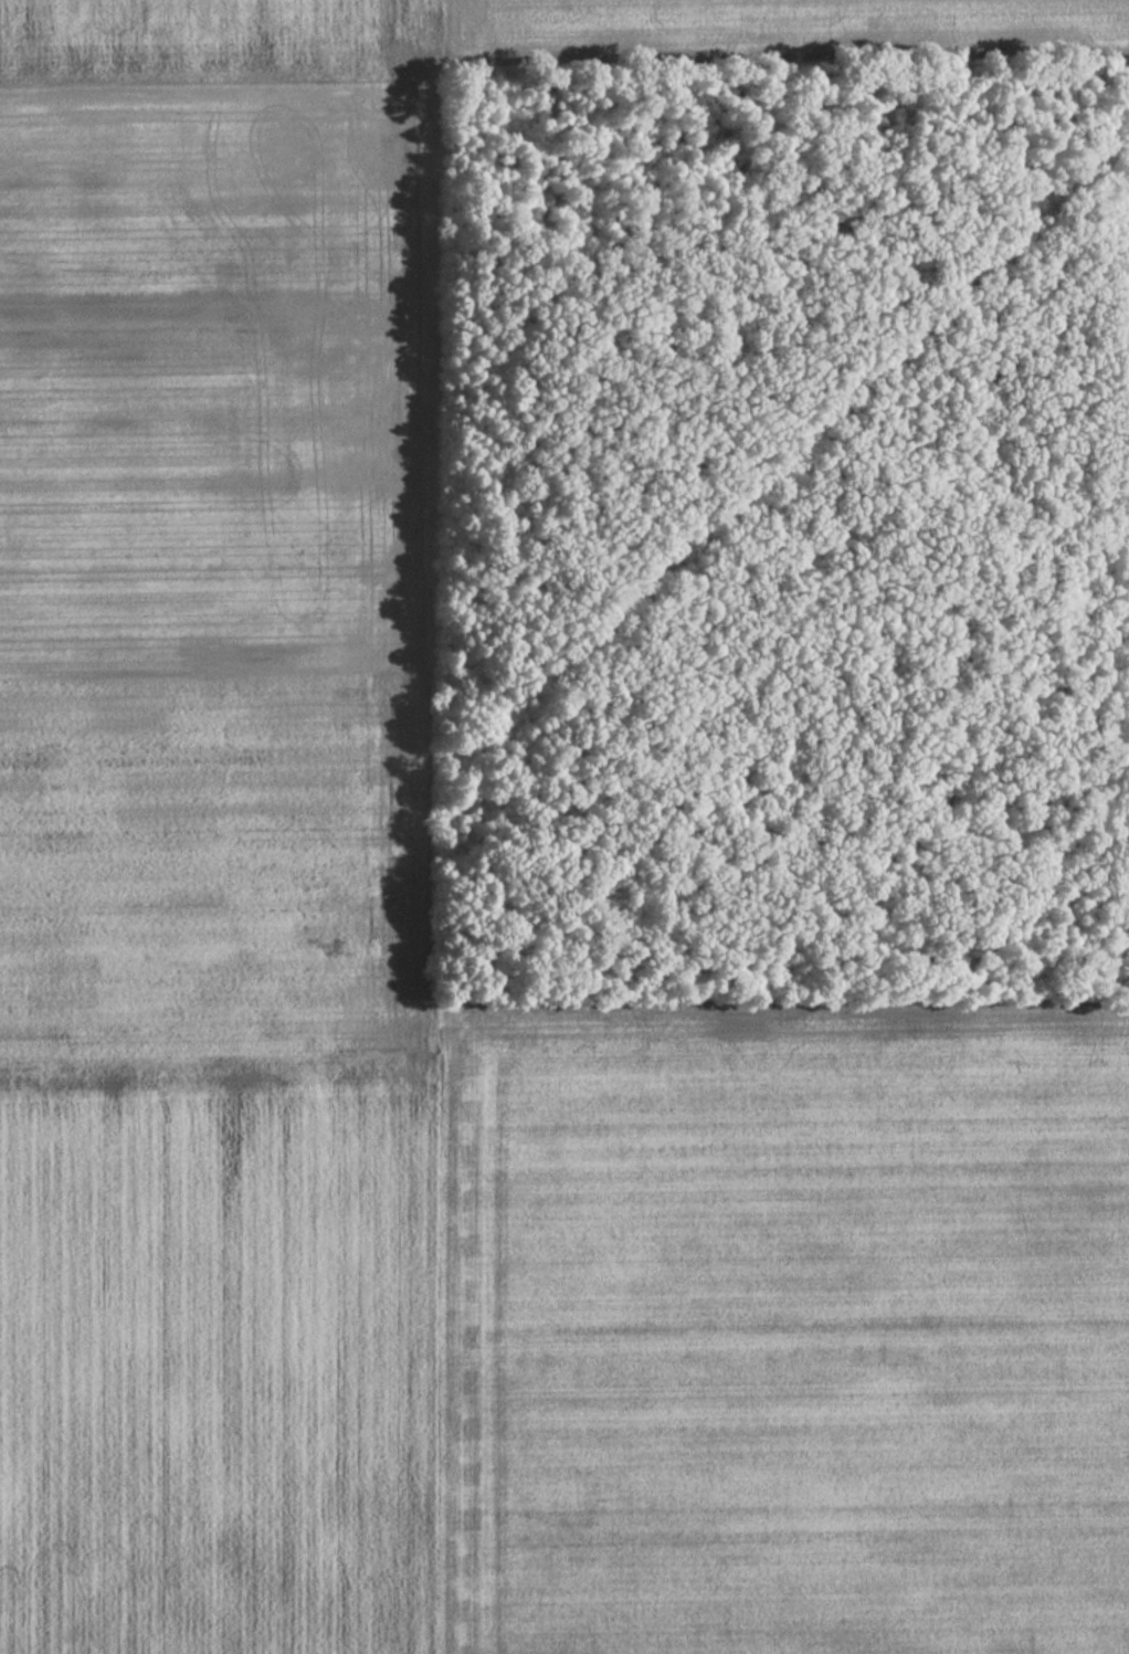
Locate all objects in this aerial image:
crop: (773, 25)
crop: (204, 29)
crop: (213, 541)
crop: (780, 1331)
crop: (218, 1337)

